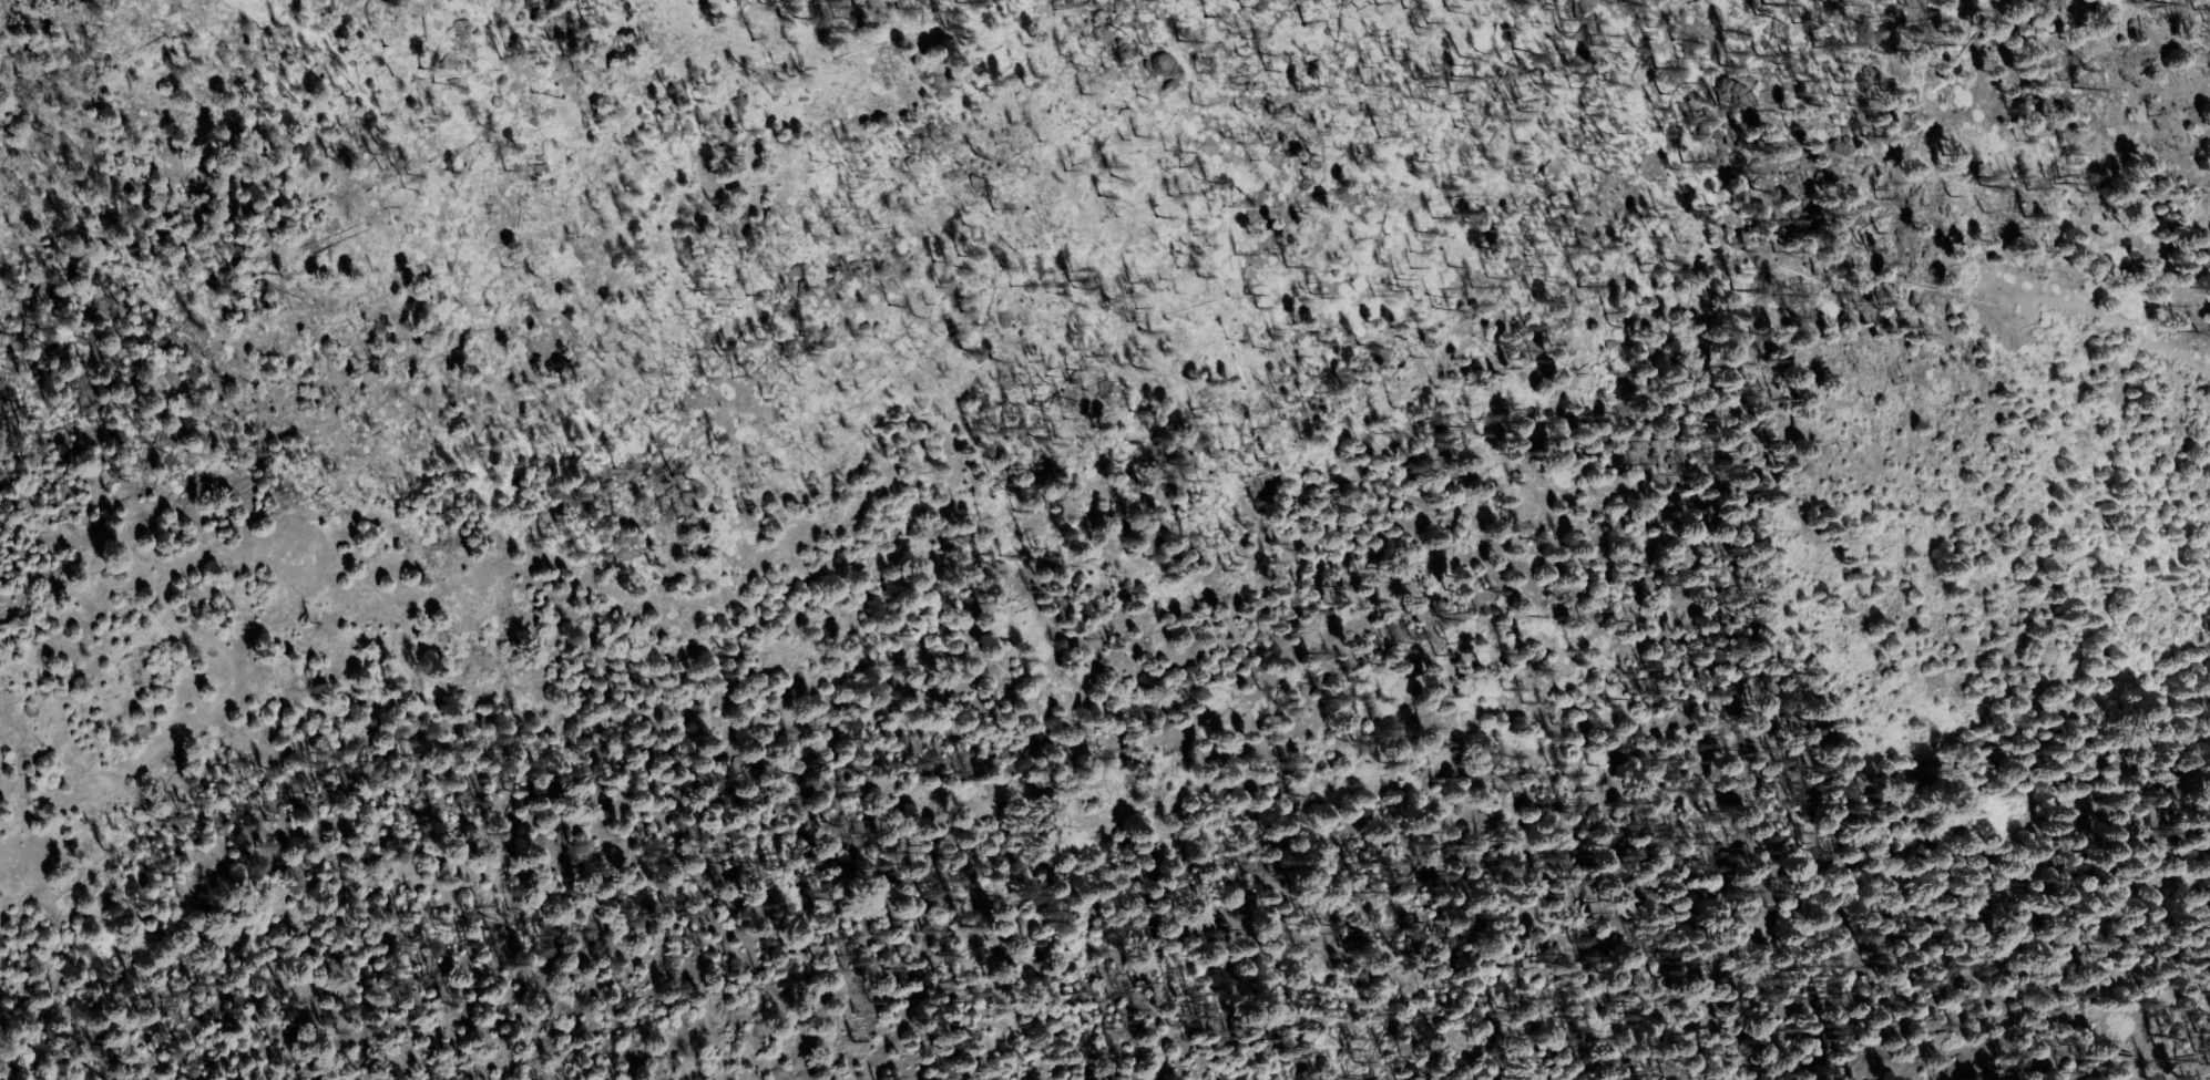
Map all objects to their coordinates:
road: (2118, 331)

